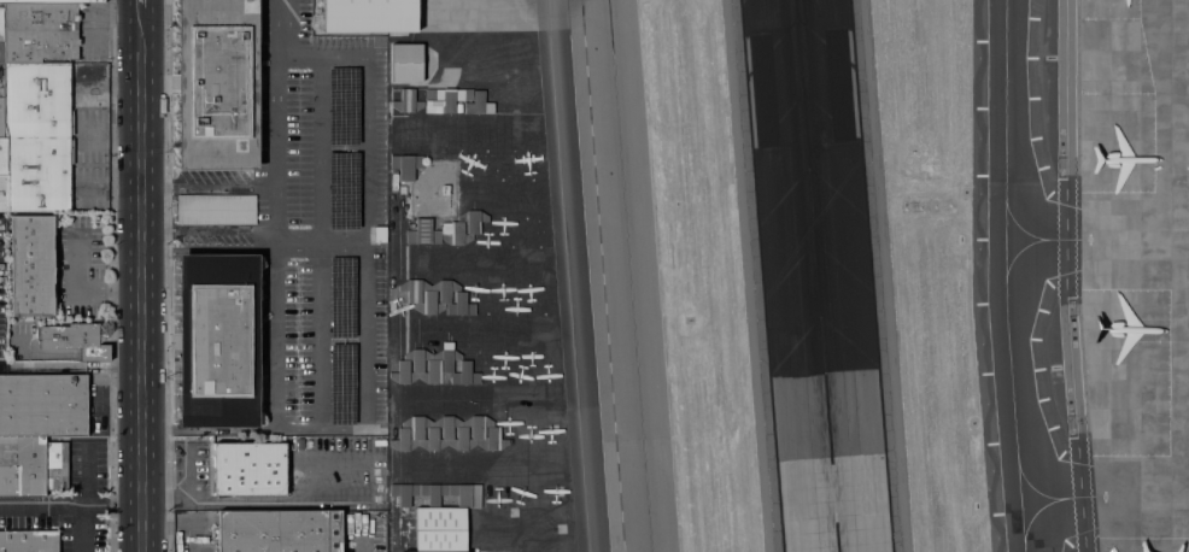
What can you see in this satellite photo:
building: (41, 1)
road: (140, 1)
building: (368, 16)
building: (0, 23)
road: (274, 29)
building: (37, 31)
building: (406, 63)
building: (217, 84)
building: (445, 99)
building: (408, 101)
building: (479, 104)
building: (0, 110)
road: (1181, 117)
road: (273, 122)
building: (35, 135)
building: (1, 154)
building: (406, 165)
road: (206, 182)
building: (446, 190)
building: (2, 192)
road: (362, 195)
road: (271, 209)
building: (216, 210)
airport taxiway: (1037, 223)
building: (456, 228)
road: (206, 233)
building: (423, 233)
road: (1185, 234)
road: (316, 239)
road: (317, 241)
road: (141, 256)
airport taxiway: (1036, 258)
building: (31, 266)
airport: (784, 274)
road: (576, 275)
airport taxiway: (628, 276)
airport runway: (814, 276)
airport taxiway: (1007, 276)
road: (1067, 276)
building: (428, 294)
building: (459, 306)
road: (271, 330)
building: (75, 340)
building: (218, 341)
building: (440, 366)
building: (464, 375)
building: (43, 405)
road: (206, 429)
road: (317, 429)
helipad: (551, 433)
building: (449, 434)
building: (31, 466)
building: (248, 469)
road: (84, 476)
airport taxiway: (1050, 485)
helipad: (553, 492)
road: (41, 507)
road: (111, 509)
building: (439, 513)
helipad: (506, 515)
airport taxiway: (1053, 515)
road: (180, 518)
helipad: (560, 528)
road: (81, 530)
road: (141, 530)
building: (279, 532)
road: (364, 538)
building: (29, 541)

